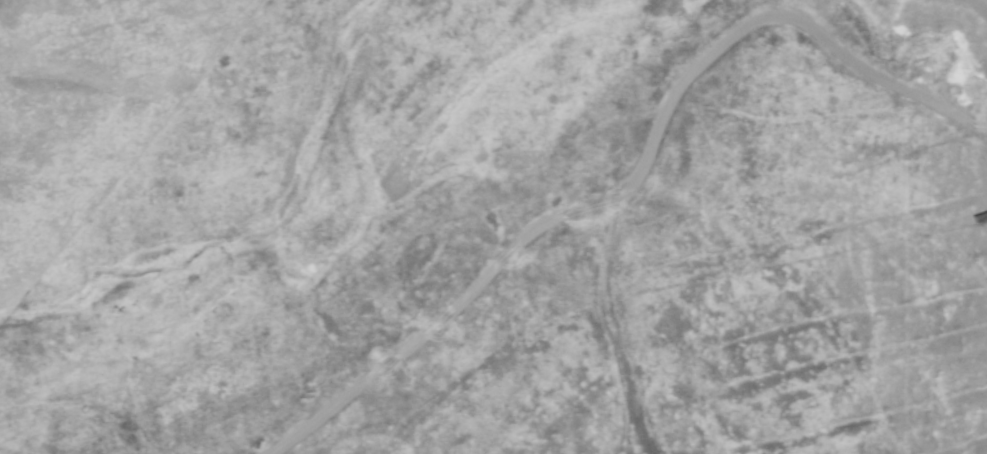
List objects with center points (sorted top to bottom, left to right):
road: (969, 18)
road: (634, 176)
airport: (493, 227)
road: (668, 284)
road: (615, 330)

